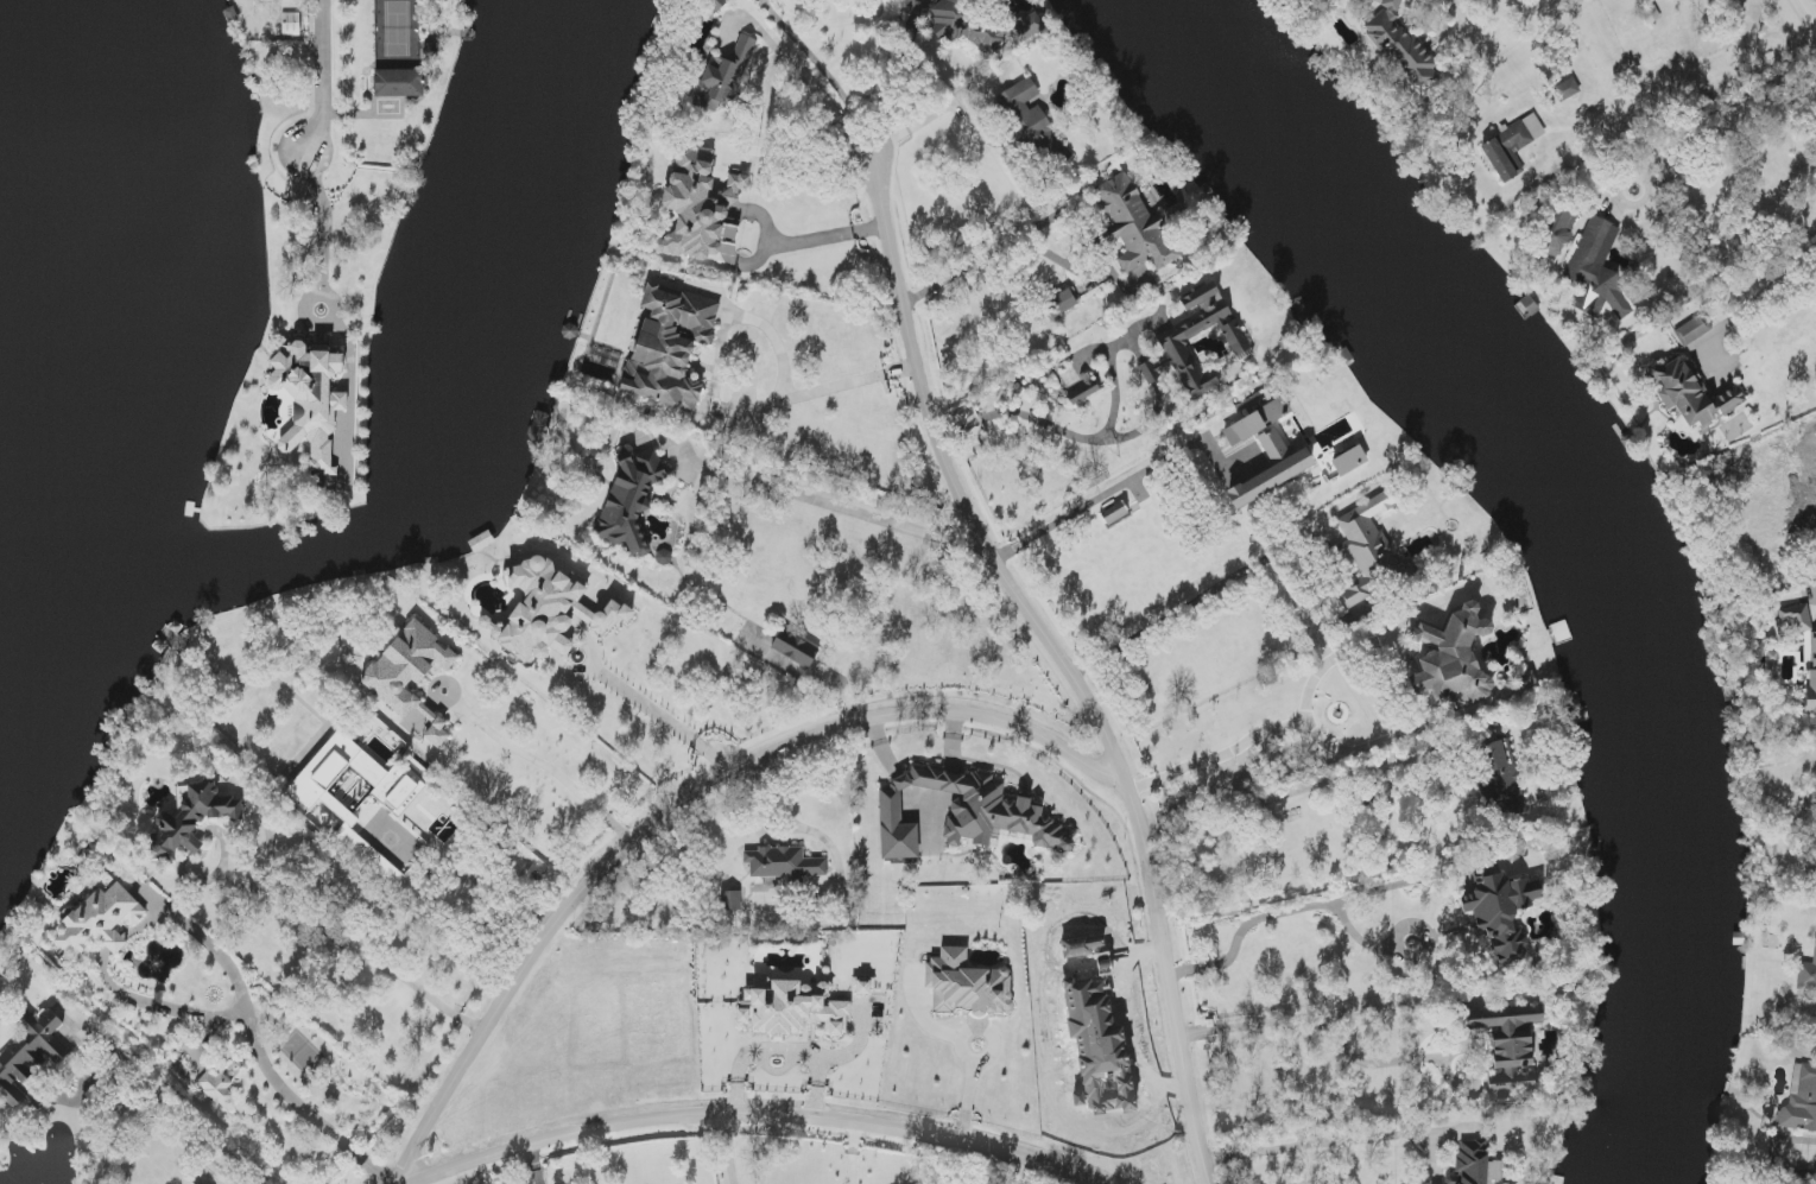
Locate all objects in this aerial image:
road: (1466, 14)
road: (1806, 14)
building: (291, 18)
building: (964, 26)
building: (1025, 27)
building: (1400, 46)
road: (811, 55)
road: (782, 57)
building: (723, 77)
road: (323, 78)
building: (400, 83)
building: (1565, 89)
road: (1690, 95)
road: (850, 113)
road: (938, 113)
building: (1031, 121)
road: (1722, 125)
building: (1507, 151)
road: (759, 214)
building: (1133, 223)
road: (324, 224)
building: (1557, 230)
road: (733, 235)
road: (796, 241)
road: (996, 249)
building: (1597, 268)
road: (1757, 297)
building: (1061, 303)
building: (1692, 330)
building: (670, 347)
building: (1176, 347)
building: (1151, 376)
building: (1083, 391)
building: (1691, 393)
road: (787, 398)
building: (311, 403)
road: (1075, 436)
building: (1266, 452)
building: (1349, 461)
building: (631, 502)
road: (839, 507)
road: (1062, 521)
building: (1372, 552)
building: (550, 613)
road: (1168, 616)
building: (1796, 618)
building: (795, 648)
road: (1335, 657)
building: (1451, 658)
road: (1067, 667)
building: (1811, 673)
building: (411, 678)
building: (1526, 680)
road: (660, 717)
road: (1289, 724)
road: (548, 764)
building: (1501, 779)
building: (390, 780)
road: (684, 802)
road: (1240, 813)
building: (964, 815)
building: (189, 821)
road: (792, 825)
building: (375, 860)
building: (789, 866)
building: (730, 900)
building: (1501, 912)
road: (1289, 913)
building: (102, 919)
road: (349, 950)
building: (1806, 974)
building: (967, 984)
building: (863, 986)
road: (163, 1005)
building: (792, 1009)
road: (1316, 1018)
road: (258, 1045)
road: (779, 1049)
building: (1511, 1050)
building: (29, 1055)
road: (992, 1057)
building: (217, 1088)
building: (1801, 1101)
road: (173, 1103)
road: (751, 1116)
road: (1321, 1145)
road: (728, 1148)
road: (852, 1153)
road: (537, 1164)
building: (1474, 1165)
road: (1023, 1170)

